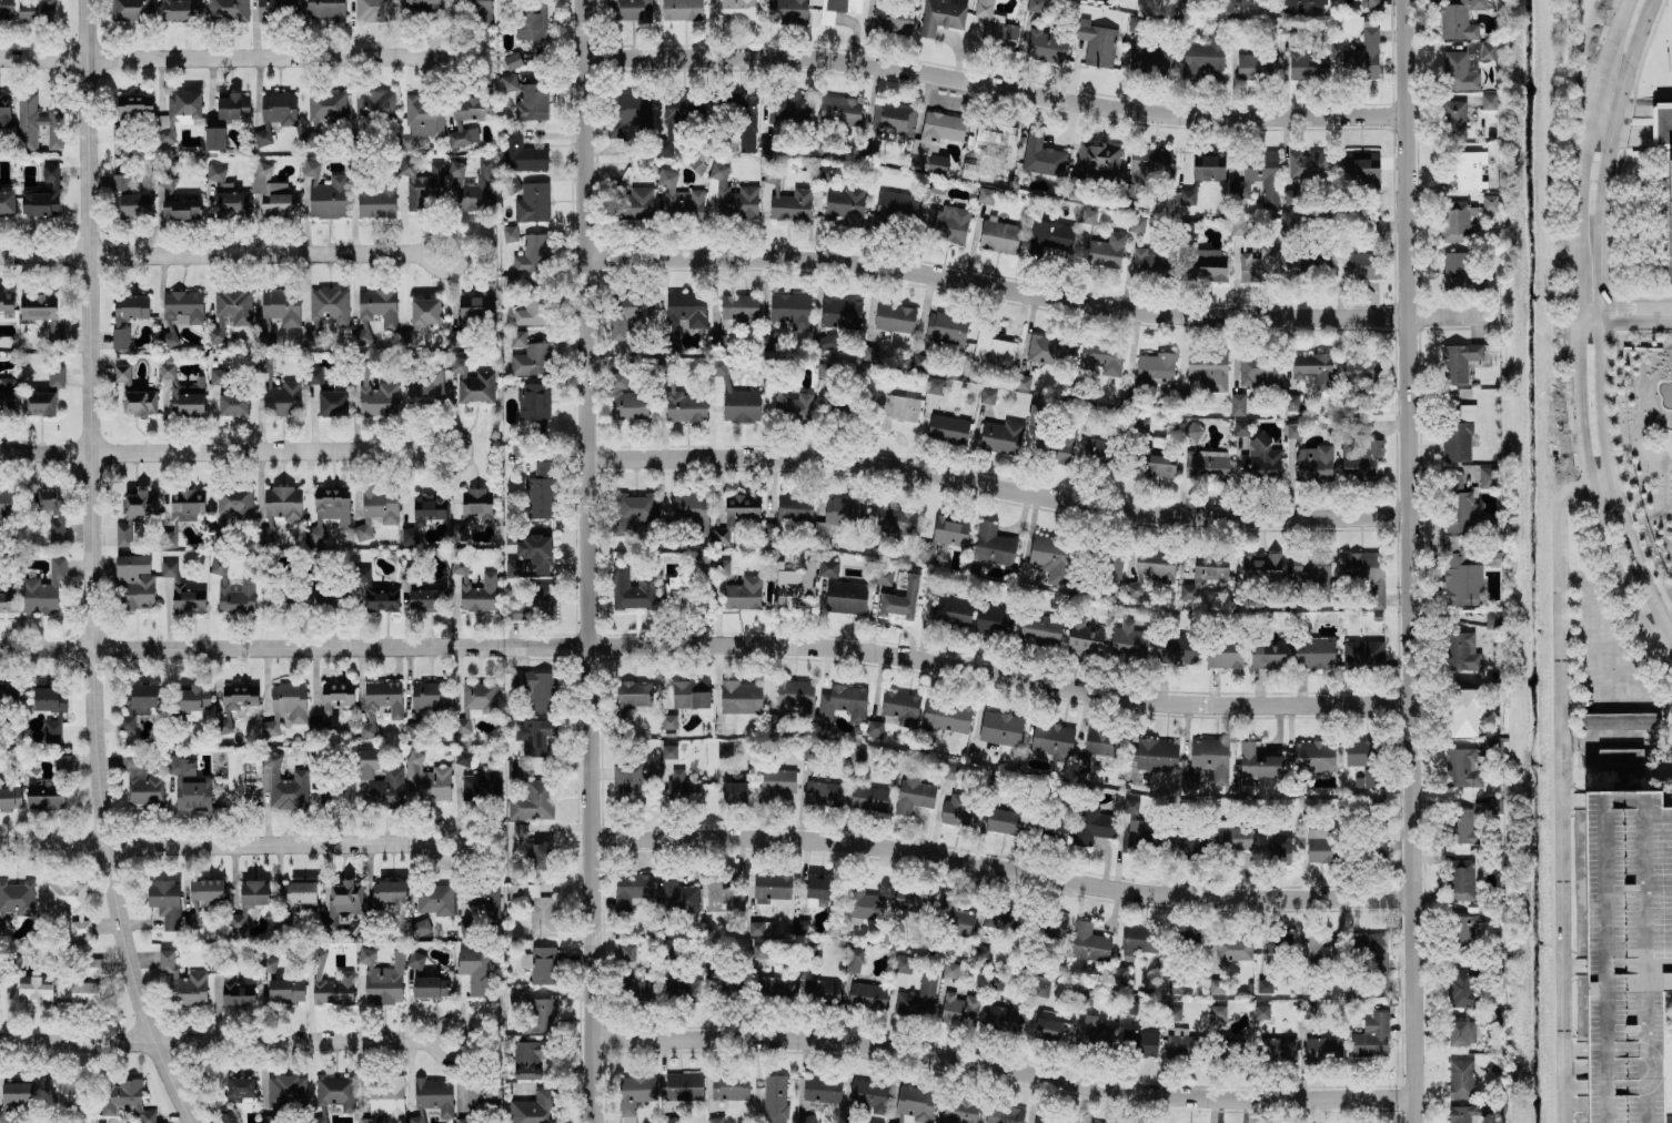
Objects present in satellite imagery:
building: (1369, 2)
building: (422, 6)
building: (1035, 6)
building: (1305, 6)
building: (6, 9)
building: (276, 9)
building: (325, 9)
building: (476, 9)
building: (837, 9)
building: (130, 10)
building: (180, 10)
building: (226, 10)
building: (373, 10)
building: (632, 10)
building: (681, 10)
building: (734, 10)
building: (36, 11)
building: (787, 11)
building: (940, 17)
building: (892, 19)
building: (1459, 20)
building: (532, 23)
building: (1137, 24)
building: (995, 29)
building: (1096, 43)
building: (1046, 47)
building: (1363, 53)
road: (457, 57)
building: (1205, 58)
road: (207, 59)
building: (512, 61)
building: (1150, 62)
building: (1463, 65)
building: (1308, 67)
building: (1256, 68)
road: (995, 87)
building: (526, 99)
building: (1488, 101)
building: (133, 104)
building: (374, 104)
building: (232, 105)
building: (325, 105)
building: (683, 107)
building: (790, 107)
building: (279, 108)
building: (839, 109)
building: (4, 111)
road: (1635, 111)
building: (632, 112)
road: (1662, 112)
road: (1603, 115)
building: (1663, 115)
building: (743, 117)
building: (893, 118)
building: (1453, 119)
road: (1618, 119)
building: (419, 120)
building: (467, 120)
building: (37, 124)
building: (117, 132)
road: (1633, 132)
road: (1662, 132)
building: (266, 138)
building: (214, 139)
building: (935, 141)
building: (765, 145)
building: (663, 146)
building: (816, 148)
road: (1608, 150)
building: (522, 153)
building: (1041, 155)
building: (1097, 162)
building: (1149, 163)
building: (1309, 165)
building: (1360, 166)
building: (1208, 168)
building: (1467, 169)
building: (215, 172)
building: (1258, 179)
building: (119, 182)
building: (421, 185)
building: (473, 185)
building: (934, 185)
building: (273, 193)
building: (325, 193)
building: (43, 194)
building: (732, 195)
building: (985, 195)
building: (1186, 196)
building: (678, 198)
building: (375, 201)
building: (7, 202)
building: (231, 202)
building: (635, 202)
building: (532, 203)
building: (789, 203)
building: (1489, 203)
building: (134, 204)
building: (846, 204)
building: (896, 205)
building: (179, 210)
building: (1087, 216)
building: (1668, 220)
parking garage: (1668, 220)
building: (1457, 221)
building: (947, 223)
building: (1137, 224)
building: (1238, 227)
building: (508, 234)
building: (998, 236)
building: (1050, 236)
building: (1105, 251)
road: (460, 253)
building: (532, 254)
road: (209, 255)
building: (1148, 261)
building: (1207, 264)
building: (1259, 265)
building: (1459, 273)
road: (1038, 295)
building: (6, 301)
building: (329, 305)
building: (476, 305)
building: (38, 306)
building: (130, 306)
building: (281, 306)
building: (377, 306)
road: (1585, 307)
road: (1622, 307)
building: (686, 308)
building: (741, 310)
building: (790, 310)
building: (424, 311)
building: (180, 312)
building: (229, 312)
building: (628, 313)
building: (840, 313)
building: (530, 314)
road: (1659, 316)
building: (894, 317)
road: (1610, 325)
building: (946, 328)
building: (51, 331)
building: (361, 336)
building: (407, 337)
building: (120, 338)
building: (455, 338)
building: (716, 342)
building: (824, 342)
building: (768, 343)
building: (993, 348)
building: (1045, 348)
road: (1574, 350)
building: (868, 353)
building: (527, 356)
building: (1101, 356)
building: (1458, 361)
building: (262, 365)
building: (1155, 368)
building: (1313, 368)
building: (1207, 370)
building: (1361, 370)
building: (165, 371)
building: (1257, 372)
building: (122, 375)
building: (54, 376)
building: (216, 376)
building: (312, 376)
building: (472, 382)
building: (1020, 382)
building: (934, 385)
building: (424, 388)
building: (8, 395)
building: (986, 396)
building: (188, 398)
building: (281, 398)
building: (377, 399)
building: (625, 399)
building: (139, 402)
building: (535, 402)
building: (332, 403)
building: (39, 404)
building: (1237, 404)
building: (233, 405)
building: (684, 405)
building: (794, 406)
building: (894, 411)
building: (1038, 422)
building: (1240, 427)
building: (947, 429)
building: (1292, 431)
building: (1000, 436)
building: (1458, 436)
building: (1060, 448)
road: (461, 449)
building: (1095, 451)
road: (210, 453)
building: (1260, 457)
building: (1360, 458)
building: (1157, 464)
building: (1312, 464)
building: (1206, 465)
building: (1487, 477)
road: (1608, 477)
building: (1456, 482)
road: (998, 487)
building: (540, 493)
building: (8, 502)
building: (234, 503)
building: (281, 503)
building: (185, 504)
building: (476, 506)
building: (634, 507)
building: (742, 507)
building: (794, 507)
building: (376, 509)
building: (425, 509)
building: (328, 510)
building: (691, 510)
building: (50, 512)
building: (134, 514)
building: (840, 514)
building: (1467, 515)
building: (895, 520)
building: (266, 532)
building: (215, 536)
building: (409, 536)
building: (719, 536)
building: (943, 536)
building: (168, 538)
building: (993, 545)
building: (535, 550)
building: (1049, 557)
road: (588, 561)
road: (1410, 561)
building: (1156, 565)
building: (218, 567)
building: (721, 567)
building: (1210, 567)
building: (1260, 567)
building: (168, 568)
building: (513, 568)
building: (828, 568)
road: (92, 569)
building: (1310, 569)
building: (1366, 574)
road: (1578, 574)
building: (133, 581)
building: (795, 581)
building: (1462, 583)
building: (683, 585)
building: (934, 586)
building: (474, 588)
building: (43, 589)
building: (631, 590)
building: (1187, 590)
building: (743, 594)
building: (375, 595)
building: (235, 596)
building: (325, 596)
building: (845, 597)
building: (900, 597)
building: (425, 600)
building: (7, 601)
building: (188, 601)
building: (280, 601)
building: (953, 611)
road: (1615, 615)
building: (993, 620)
building: (1492, 620)
building: (1039, 629)
road: (1670, 633)
building: (1084, 639)
road: (1659, 640)
building: (1128, 644)
road: (707, 645)
building: (1177, 649)
building: (1463, 651)
building: (1313, 652)
building: (1361, 654)
building: (1223, 655)
building: (1267, 656)
building: (536, 688)
building: (689, 694)
building: (239, 695)
building: (429, 696)
building: (631, 696)
building: (8, 697)
building: (383, 697)
building: (739, 697)
building: (796, 697)
building: (193, 699)
building: (479, 699)
building: (289, 701)
building: (139, 704)
building: (332, 705)
building: (842, 705)
building: (900, 707)
building: (51, 710)
building: (1464, 711)
building: (946, 716)
building: (772, 719)
building: (1620, 720)
building: (667, 722)
building: (462, 726)
building: (270, 728)
building: (874, 728)
building: (1000, 728)
building: (366, 730)
building: (533, 735)
building: (1051, 739)
building: (1101, 743)
building: (723, 750)
building: (668, 751)
building: (1359, 752)
building: (856, 755)
building: (1155, 755)
building: (1313, 756)
building: (1619, 757)
building: (462, 758)
building: (1206, 762)
building: (1258, 763)
building: (1467, 763)
building: (62, 767)
building: (513, 770)
building: (950, 772)
building: (392, 773)
building: (1367, 778)
building: (427, 779)
building: (140, 781)
building: (775, 782)
building: (633, 783)
building: (283, 785)
road: (1561, 786)
building: (189, 787)
building: (480, 787)
building: (683, 789)
building: (734, 792)
building: (823, 793)
building: (913, 793)
building: (335, 795)
building: (44, 796)
building: (9, 798)
building: (868, 798)
building: (532, 801)
building: (1130, 806)
building: (959, 810)
building: (1004, 821)
building: (1091, 824)
building: (1463, 827)
building: (518, 830)
building: (1318, 832)
building: (1232, 838)
building: (1141, 839)
road: (225, 843)
building: (1187, 844)
building: (1321, 850)
building: (1278, 852)
building: (542, 857)
road: (1003, 868)
building: (1460, 879)
building: (772, 887)
building: (631, 890)
building: (817, 890)
building: (205, 892)
building: (253, 892)
building: (387, 892)
building: (298, 894)
building: (676, 894)
building: (17, 898)
building: (723, 898)
building: (434, 899)
building: (913, 899)
building: (484, 901)
building: (164, 902)
building: (342, 902)
building: (68, 904)
building: (863, 906)
building: (535, 909)
building: (954, 917)
building: (996, 919)
building: (191, 921)
building: (1, 923)
building: (236, 924)
building: (799, 927)
building: (421, 928)
building: (756, 928)
building: (281, 930)
building: (1464, 931)
building: (1132, 941)
building: (1088, 942)
building: (1278, 944)
building: (1229, 948)
building: (808, 949)
building: (758, 951)
building: (1319, 951)
building: (1624, 951)
parking lot: (1624, 951)
building: (626, 953)
building: (979, 953)
building: (1372, 957)
building: (414, 960)
building: (853, 960)
building: (266, 964)
building: (540, 964)
building: (902, 965)
road: (1570, 965)
road: (1565, 967)
building: (474, 969)
building: (949, 970)
building: (1119, 974)
building: (381, 978)
building: (719, 979)
building: (182, 982)
building: (328, 982)
building: (88, 984)
building: (1216, 985)
building: (1263, 985)
building: (430, 987)
building: (775, 988)
building: (1462, 988)
building: (34, 989)
building: (682, 989)
building: (285, 990)
building: (637, 990)
building: (820, 991)
building: (238, 994)
building: (867, 995)
building: (1085, 996)
building: (917, 999)
building: (1130, 1006)
building: (959, 1009)
building: (1307, 1011)
building: (534, 1012)
building: (1217, 1012)
building: (1260, 1012)
building: (1172, 1013)
building: (1495, 1018)
building: (1003, 1019)
building: (1047, 1029)
building: (1471, 1031)
building: (1092, 1032)
building: (1457, 1033)
road: (226, 1042)
building: (1138, 1043)
building: (1184, 1044)
building: (1278, 1049)
road: (1573, 1050)
building: (527, 1060)
road: (1003, 1068)
road: (1573, 1069)
building: (1460, 1079)
building: (683, 1086)
building: (728, 1086)
building: (240, 1087)
road: (1573, 1087)
building: (822, 1090)
building: (285, 1091)
building: (335, 1092)
building: (634, 1094)
building: (433, 1095)
building: (868, 1095)
building: (69, 1096)
building: (483, 1096)
building: (14, 1097)
building: (122, 1099)
building: (775, 1099)
building: (386, 1101)
road: (1573, 1103)
building: (914, 1105)
building: (530, 1107)
building: (958, 1111)
building: (1003, 1114)
building: (226, 1115)
building: (1459, 1115)
building: (417, 1116)
building: (266, 1119)
building: (1049, 1119)
building: (318, 1120)
building: (715, 1120)
building: (872, 1122)
building: (1086, 1122)

